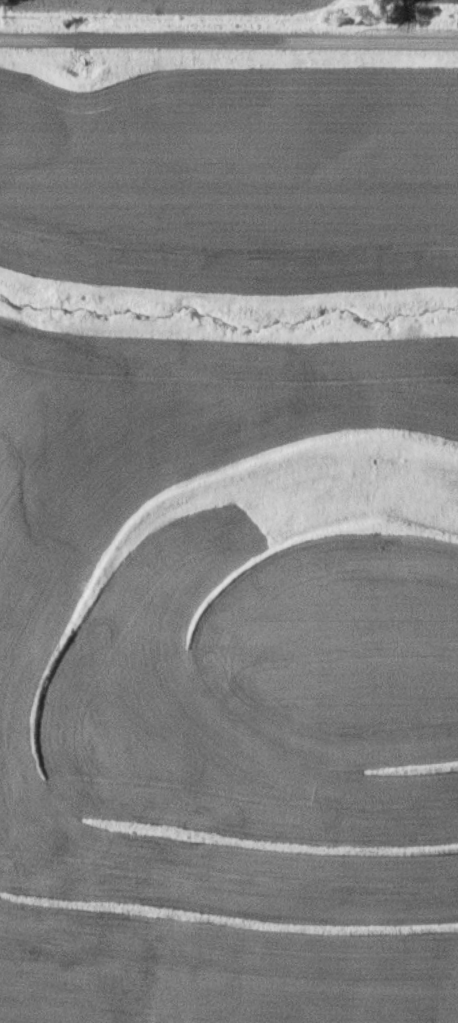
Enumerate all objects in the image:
park: (418, 26)
road: (229, 47)
building: (30, 820)

